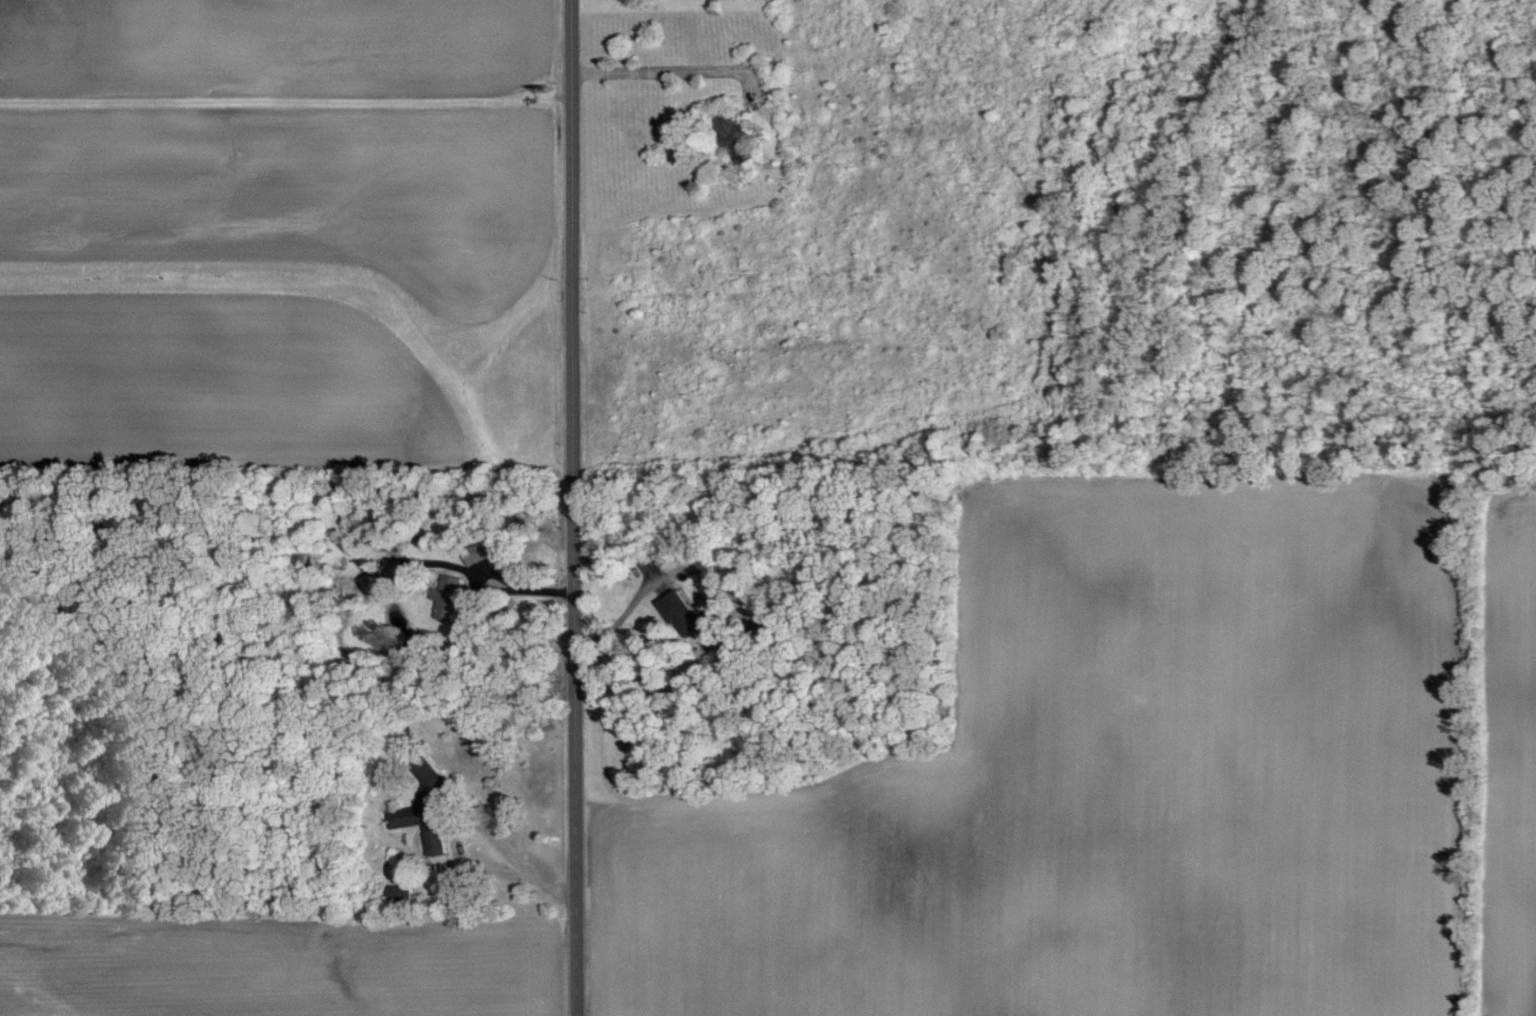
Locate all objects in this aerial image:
road: (674, 68)
building: (730, 128)
road: (568, 446)
building: (474, 553)
building: (296, 559)
building: (448, 596)
building: (683, 612)
building: (758, 627)
building: (426, 804)
road: (476, 877)
building: (401, 894)
road: (573, 954)

